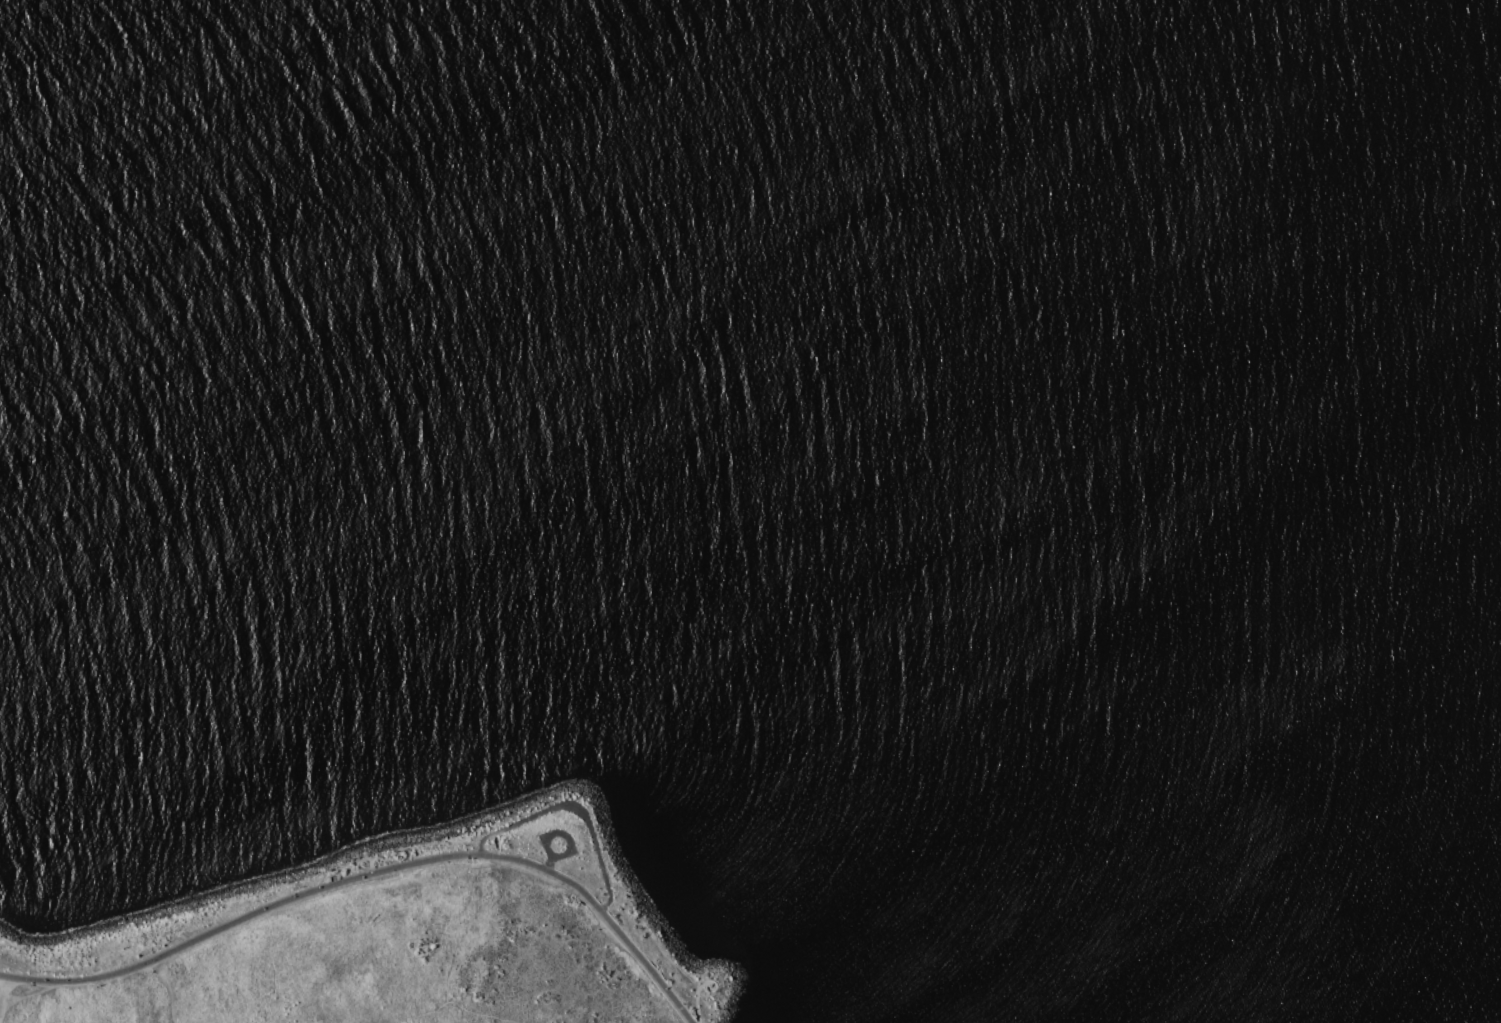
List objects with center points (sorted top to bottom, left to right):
road: (577, 815)
road: (555, 859)
road: (371, 876)
road: (649, 931)
park: (394, 939)
road: (17, 968)
road: (240, 976)
road: (699, 991)
road: (31, 1000)

